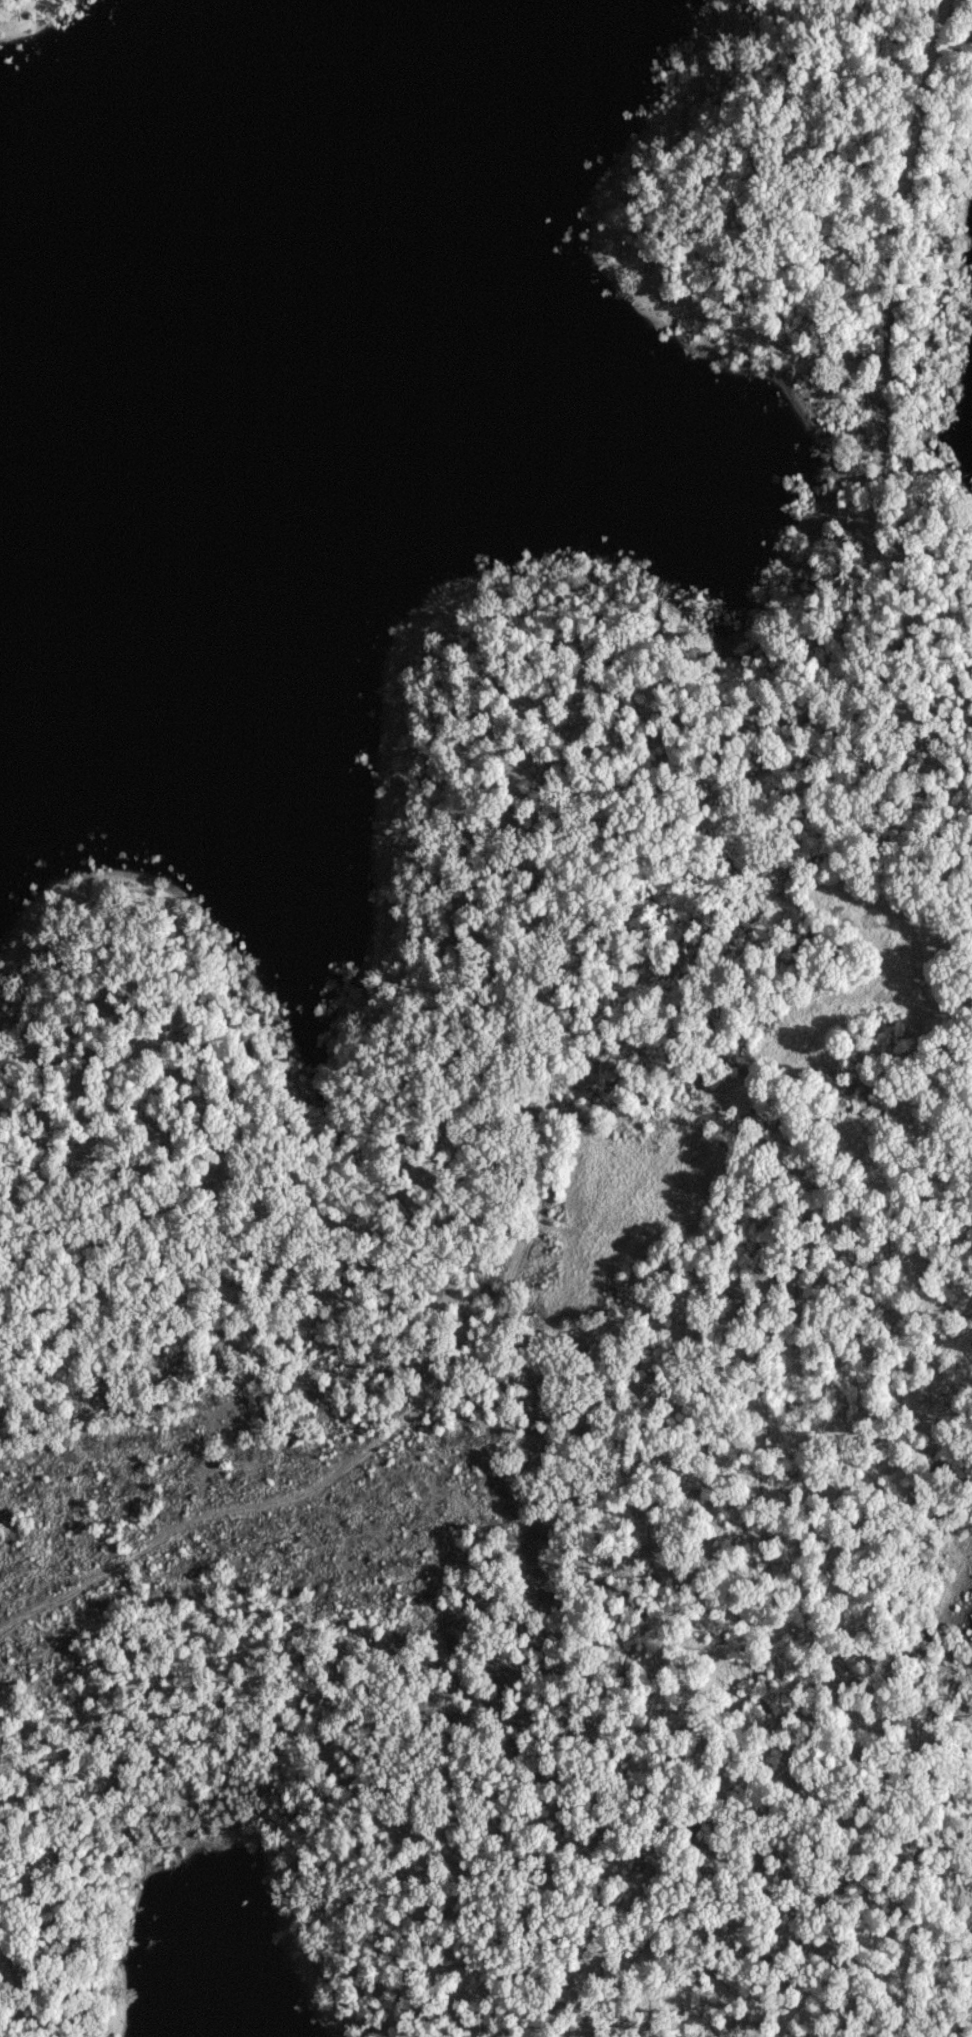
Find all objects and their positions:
road: (890, 218)
road: (627, 315)
road: (772, 352)

